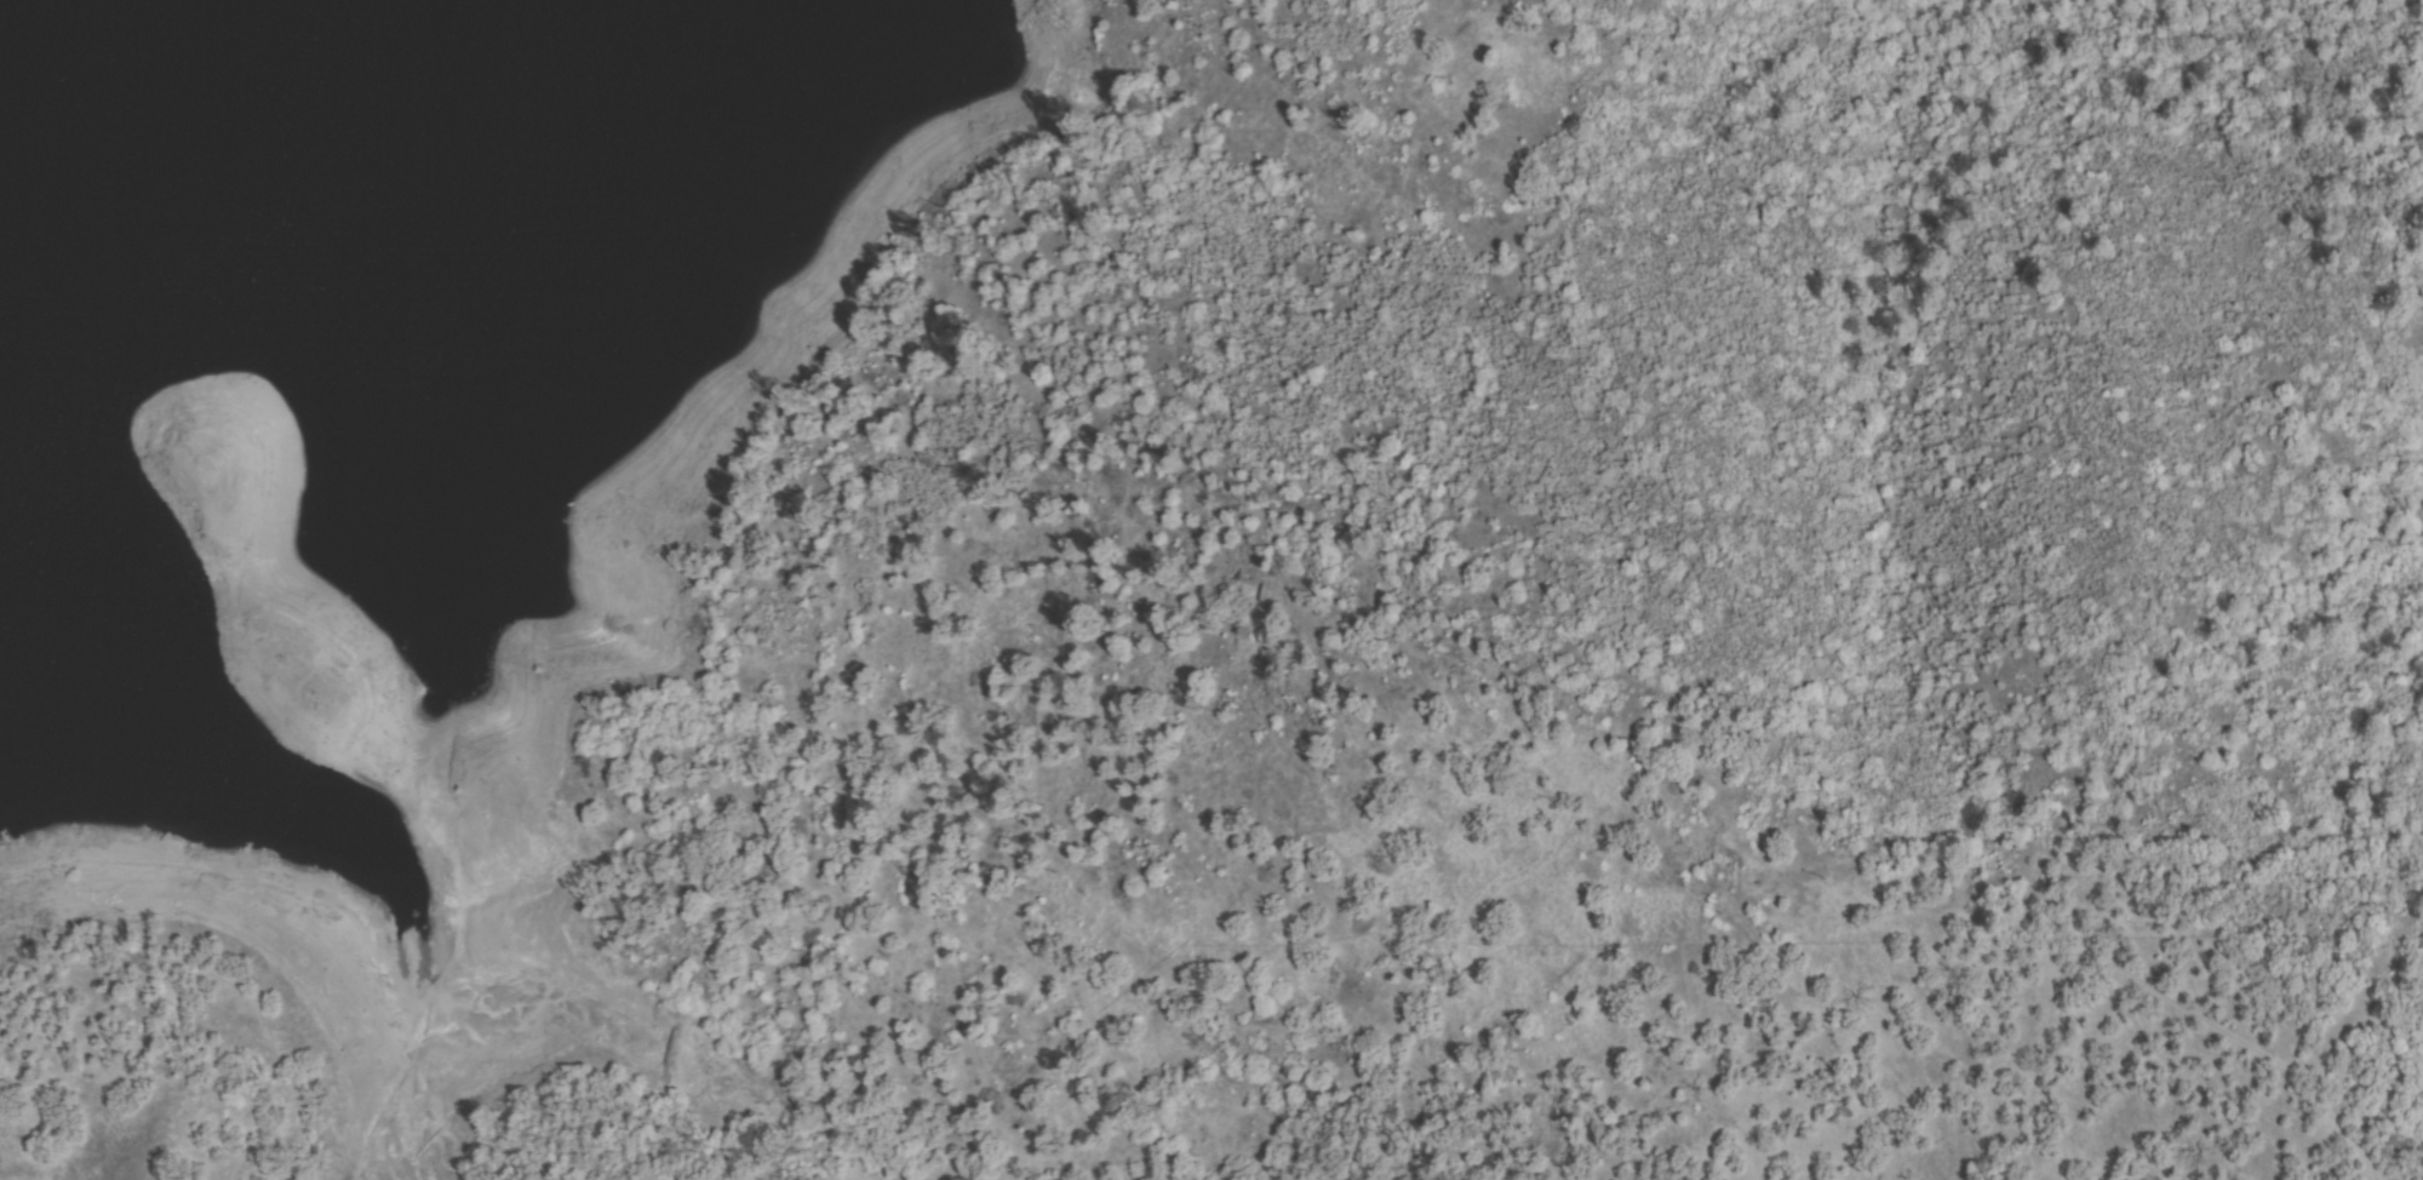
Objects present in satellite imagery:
road: (73, 1178)

